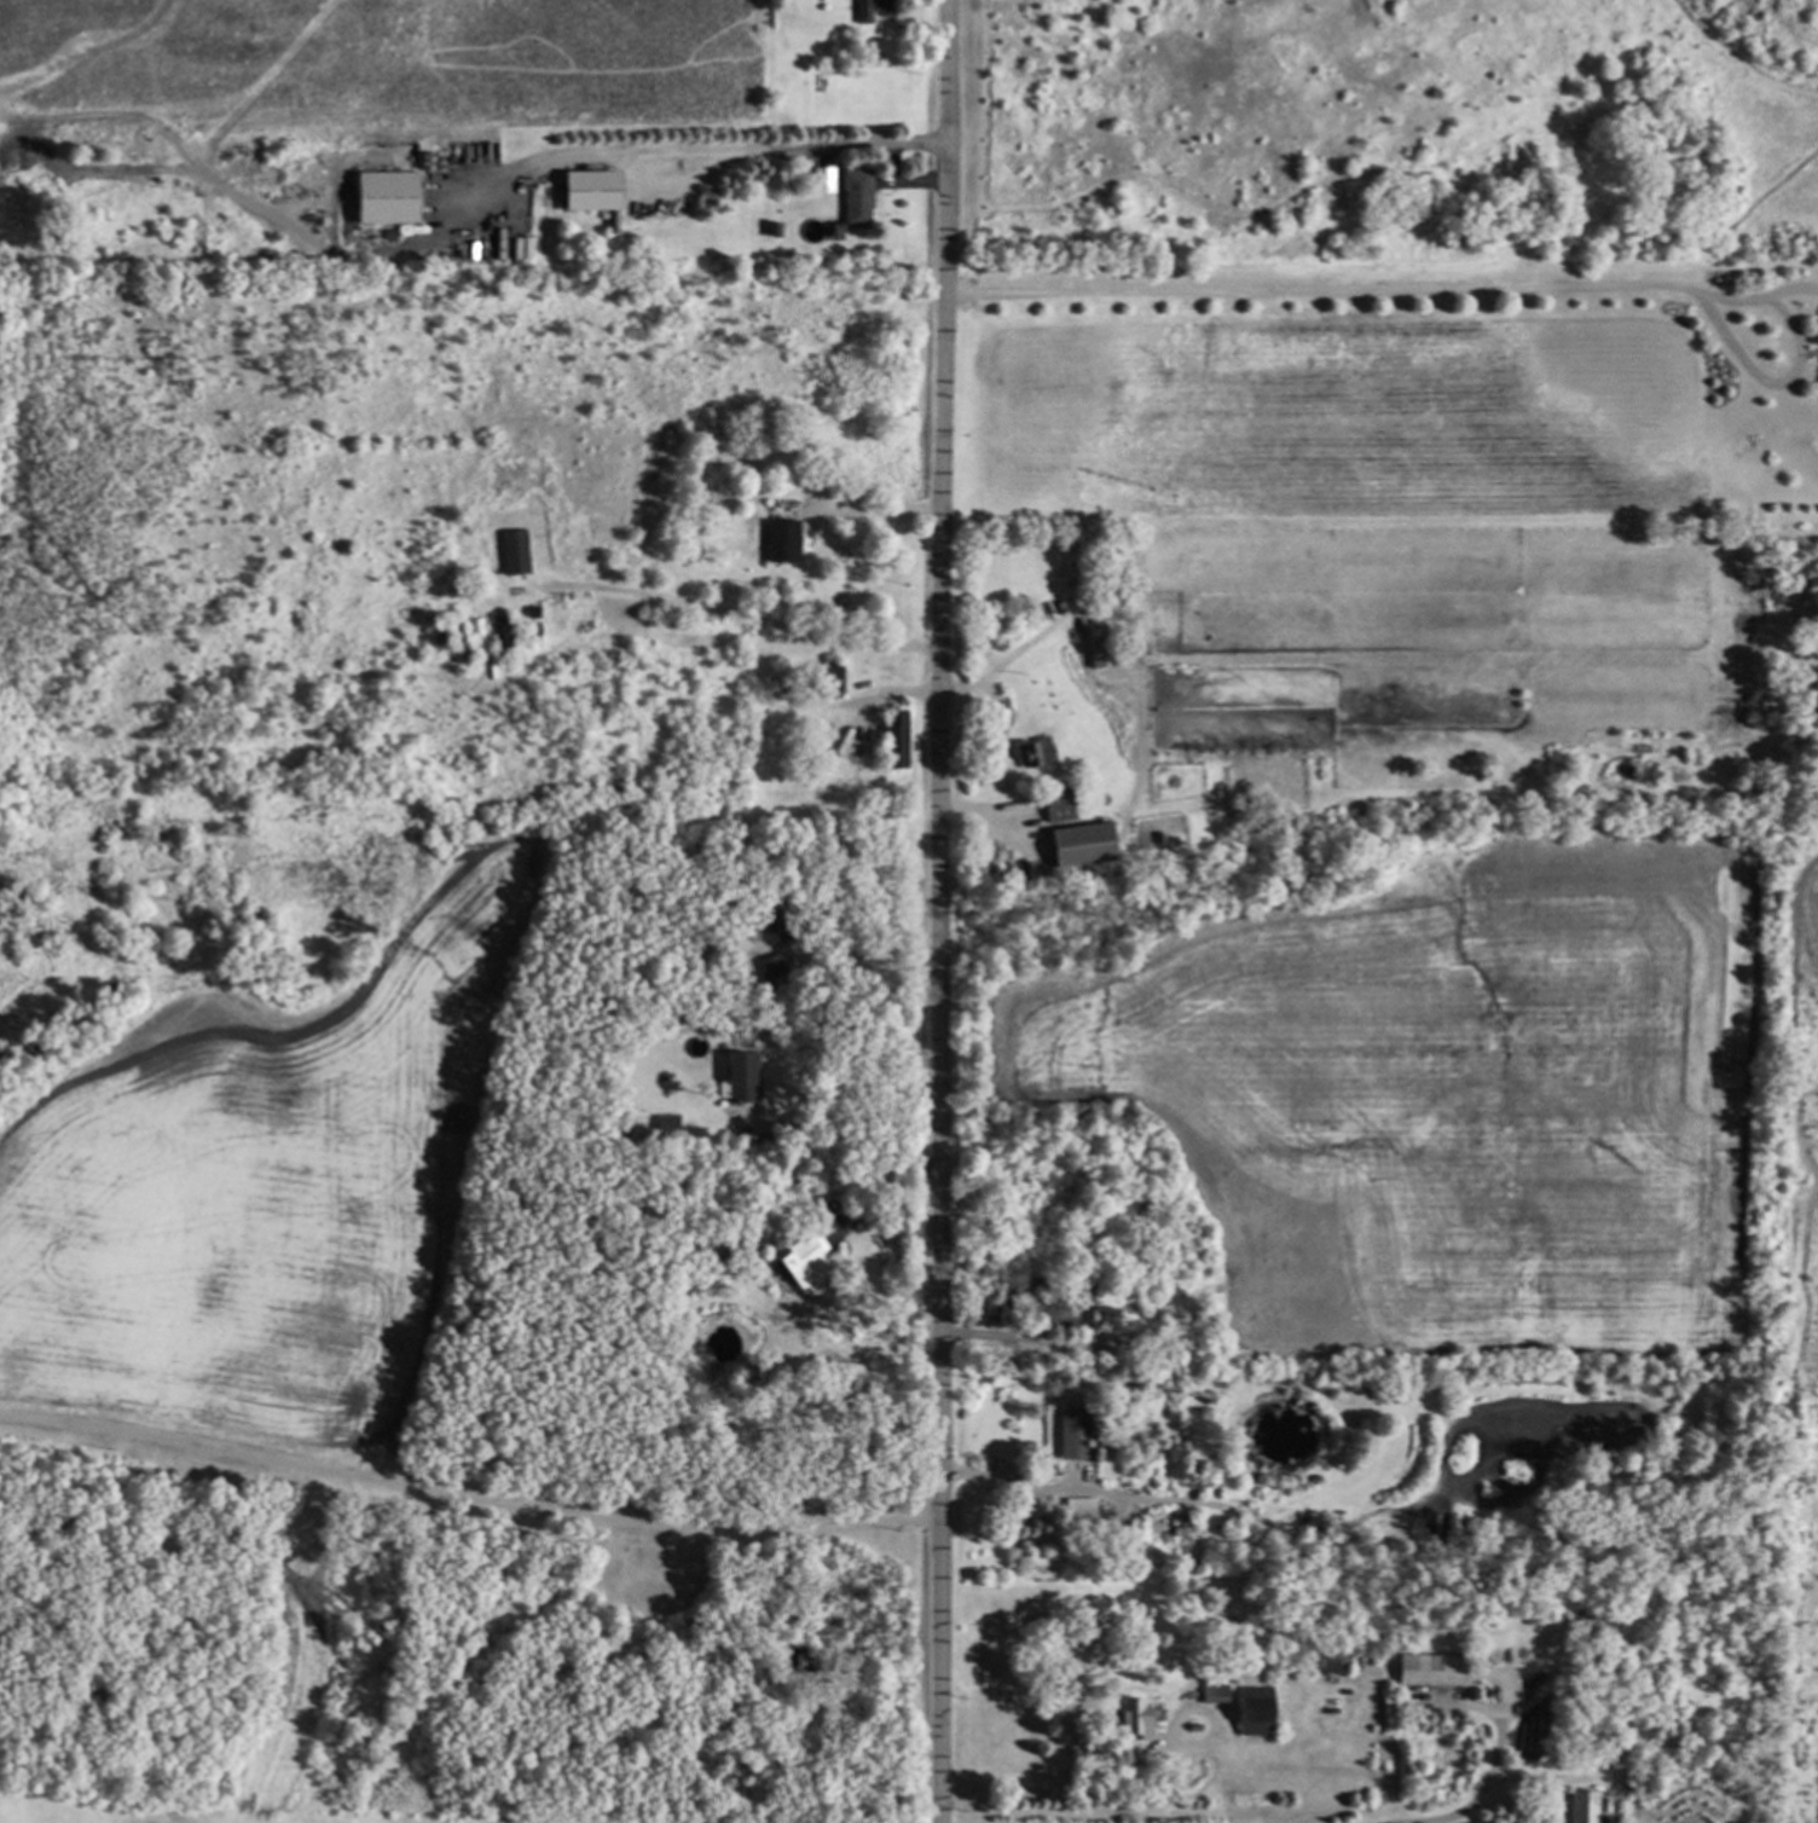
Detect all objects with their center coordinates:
building: (864, 10)
road: (687, 155)
building: (820, 180)
building: (585, 192)
building: (382, 198)
building: (520, 249)
road: (1465, 277)
building: (1813, 335)
building: (1817, 383)
road: (865, 507)
building: (778, 540)
building: (511, 551)
road: (776, 627)
building: (1096, 646)
building: (829, 677)
building: (896, 737)
building: (1032, 752)
building: (1055, 808)
building: (1078, 844)
road: (938, 911)
road: (857, 955)
building: (737, 1078)
road: (859, 1121)
building: (664, 1125)
building: (800, 1260)
road: (1000, 1336)
building: (1069, 1434)
road: (1004, 1481)
road: (465, 1486)
building: (1077, 1511)
building: (1424, 1671)
building: (1211, 1694)
building: (1251, 1711)
building: (1133, 1718)
road: (1069, 1773)
road: (1488, 1778)
building: (1581, 1806)

